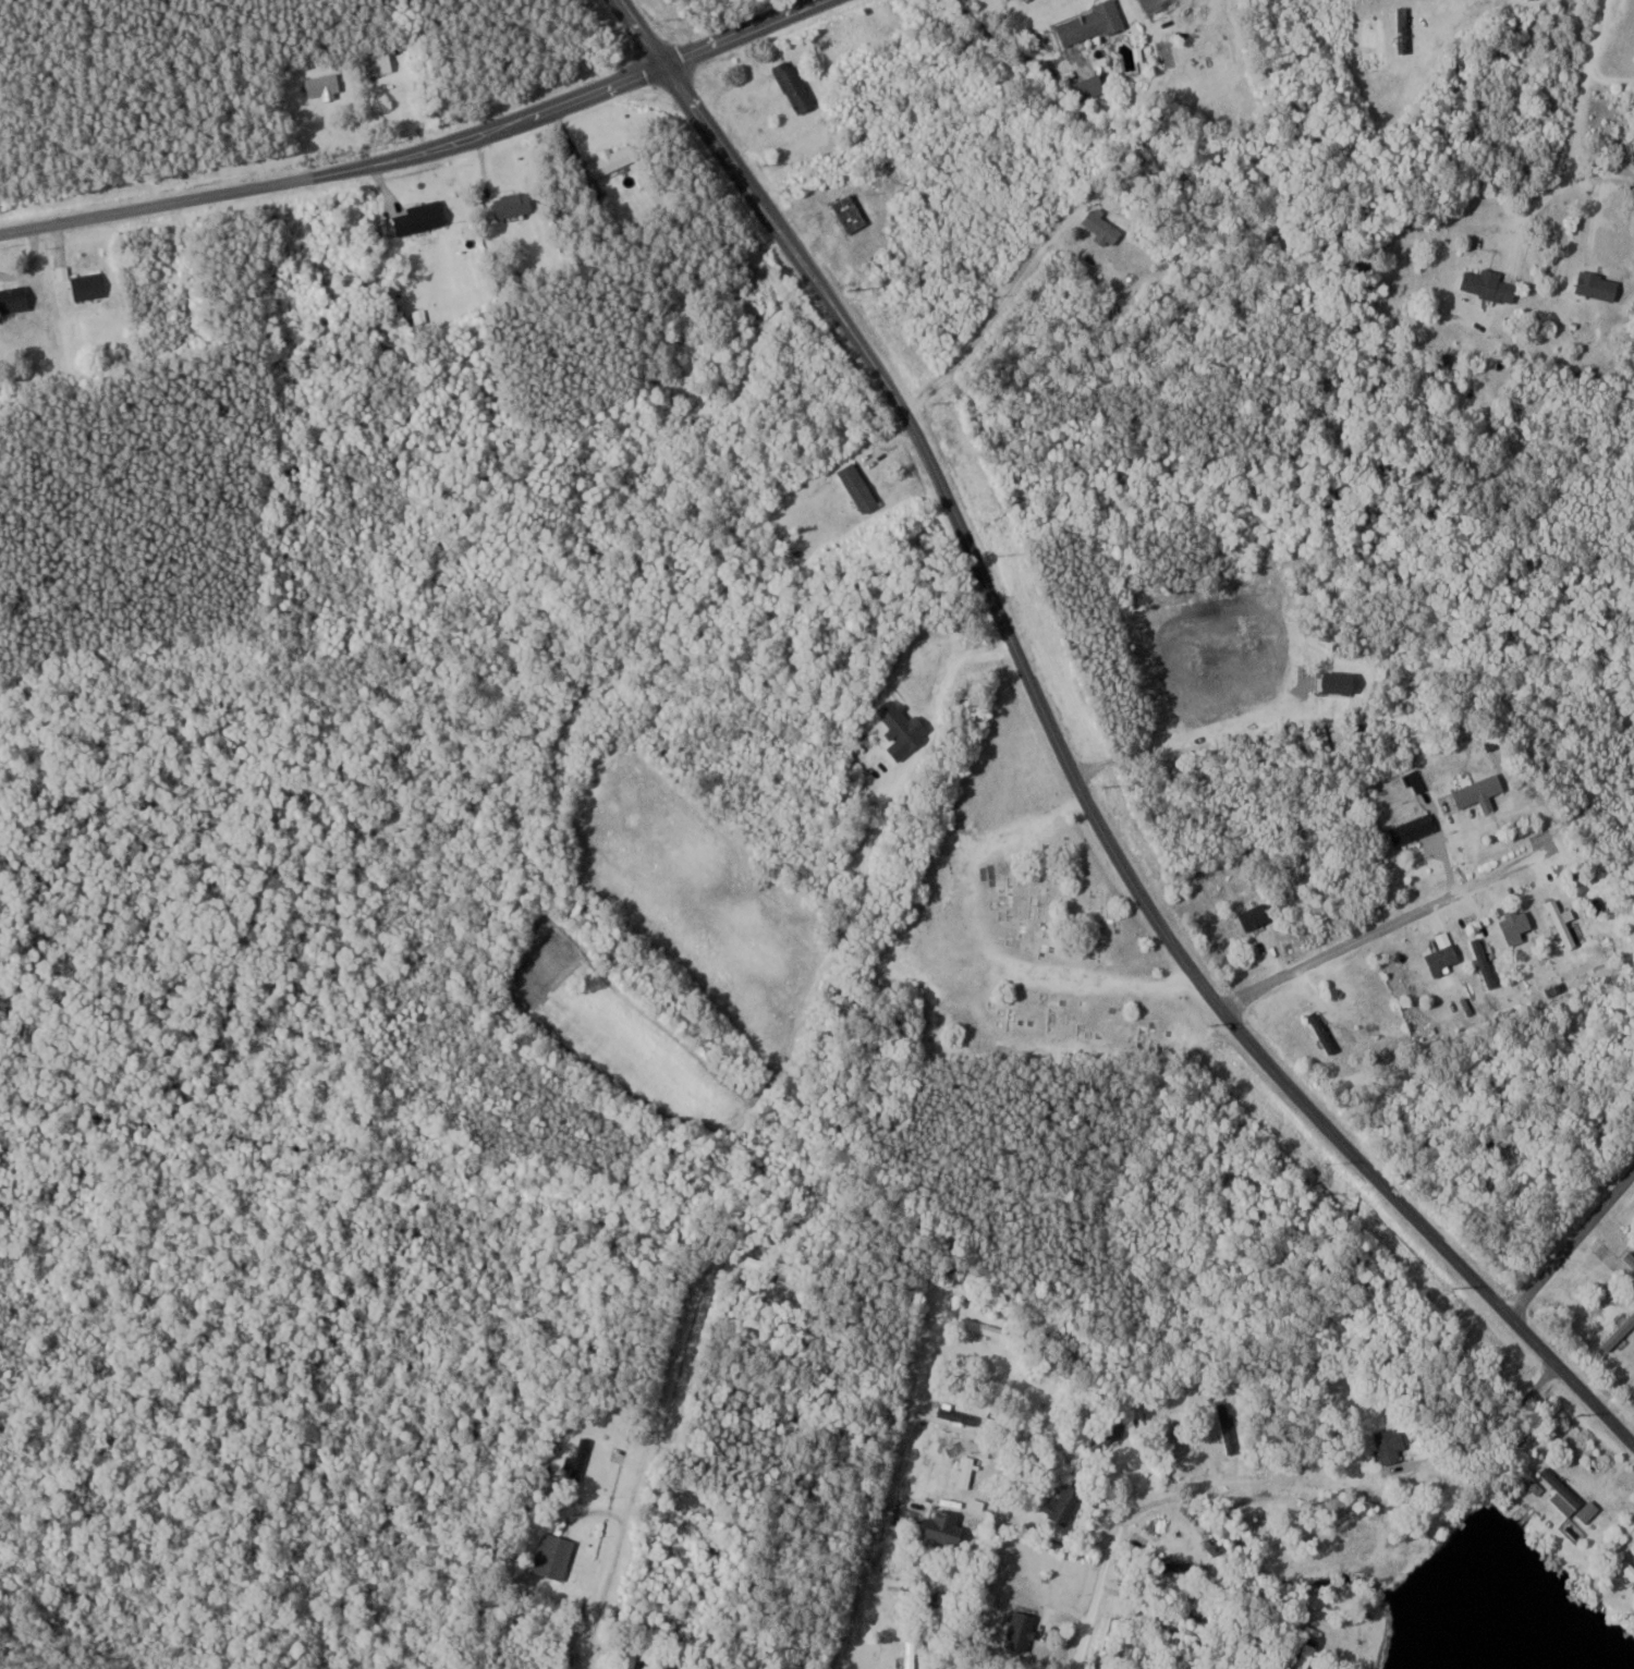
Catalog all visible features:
building: (1092, 24)
building: (378, 64)
road: (1595, 82)
building: (325, 86)
building: (796, 86)
building: (1092, 87)
road: (423, 154)
building: (611, 160)
building: (514, 204)
building: (851, 212)
building: (420, 217)
building: (1107, 227)
building: (1490, 284)
building: (89, 285)
building: (1600, 285)
building: (14, 299)
road: (987, 324)
road: (1068, 763)
building: (1481, 791)
building: (1415, 829)
building: (1258, 916)
building: (1564, 922)
road: (1397, 924)
building: (1519, 926)
building: (1446, 954)
building: (1486, 961)
building: (1325, 1031)
road: (1561, 1202)
road: (1572, 1245)
building: (1630, 1256)
building: (757, 1262)
road: (680, 1306)
building: (1620, 1332)
building: (960, 1414)
building: (1229, 1428)
building: (1393, 1449)
road: (887, 1461)
building: (967, 1473)
building: (1571, 1497)
building: (1066, 1503)
road: (1137, 1506)
building: (948, 1527)
building: (1216, 1545)
building: (556, 1556)
building: (1629, 1566)
building: (1182, 1567)
building: (1162, 1616)
building: (1024, 1628)
building: (913, 1650)
building: (1308, 1656)
building: (642, 1667)

